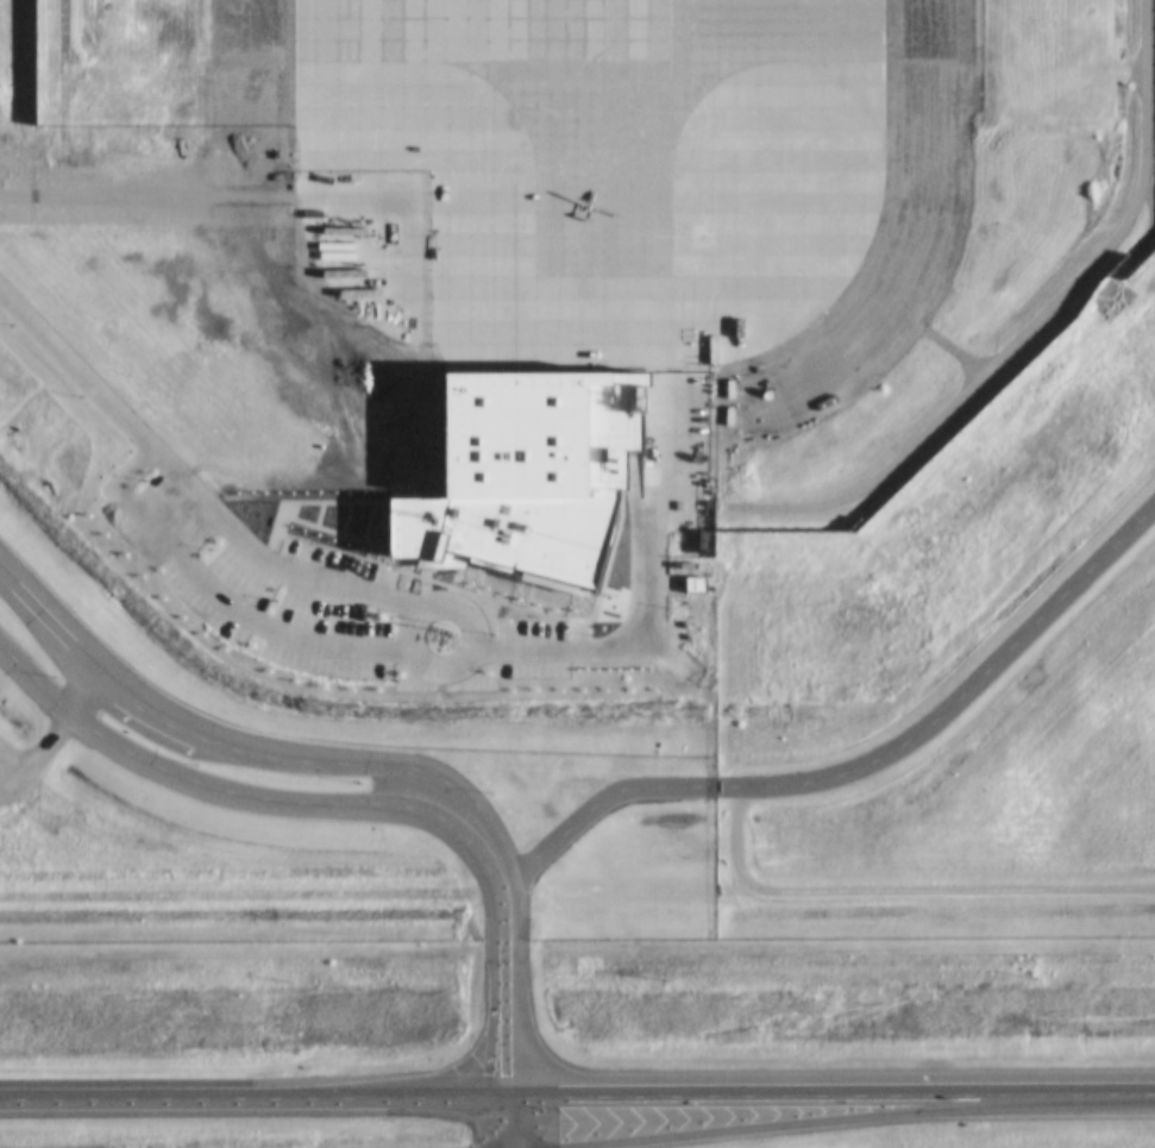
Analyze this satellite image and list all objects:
airport apron: (580, 168)
airport: (565, 353)
road: (181, 473)
building: (519, 482)
road: (272, 614)
road: (592, 648)
road: (105, 691)
road: (862, 763)
road: (471, 827)
road: (577, 1071)
road: (509, 1109)

